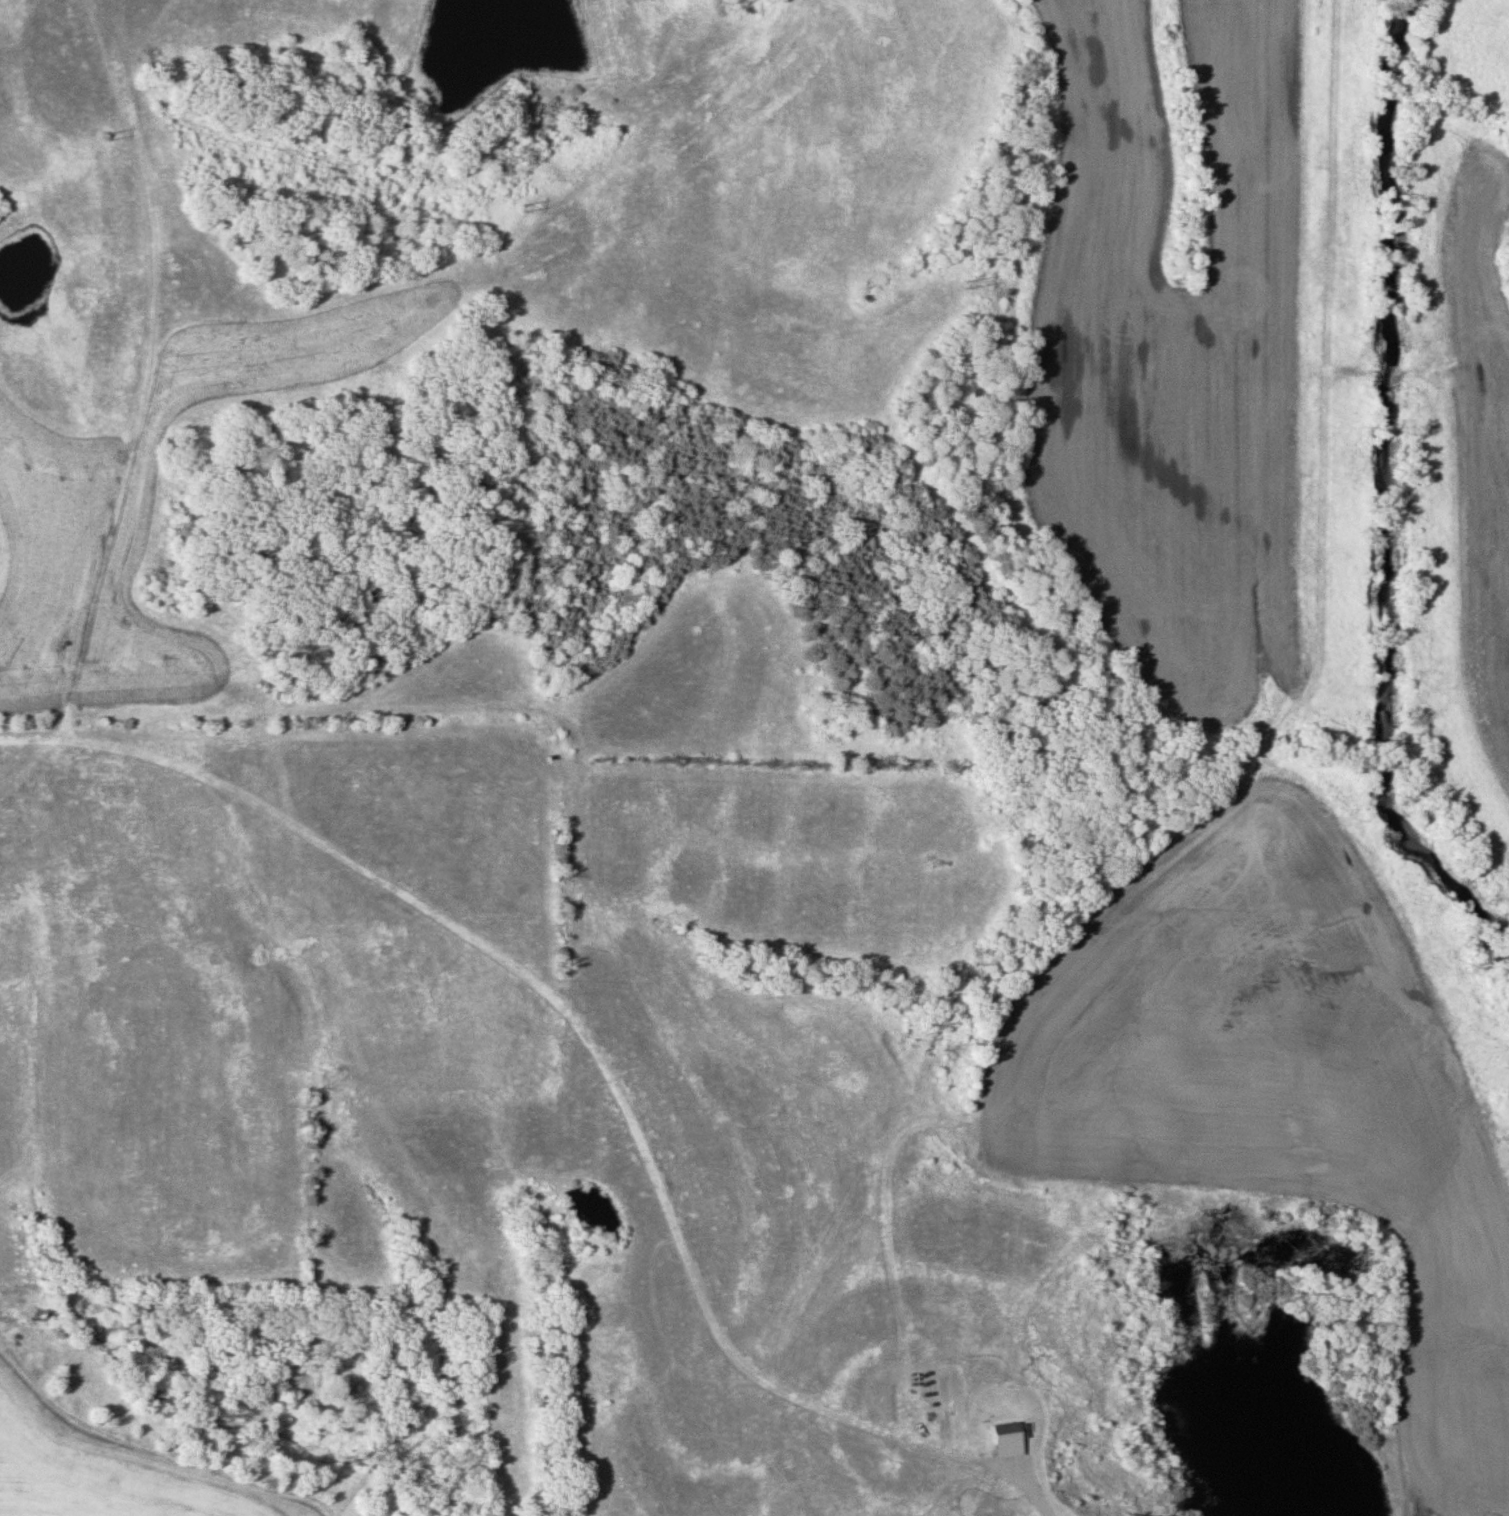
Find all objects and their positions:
building: (1006, 1442)

